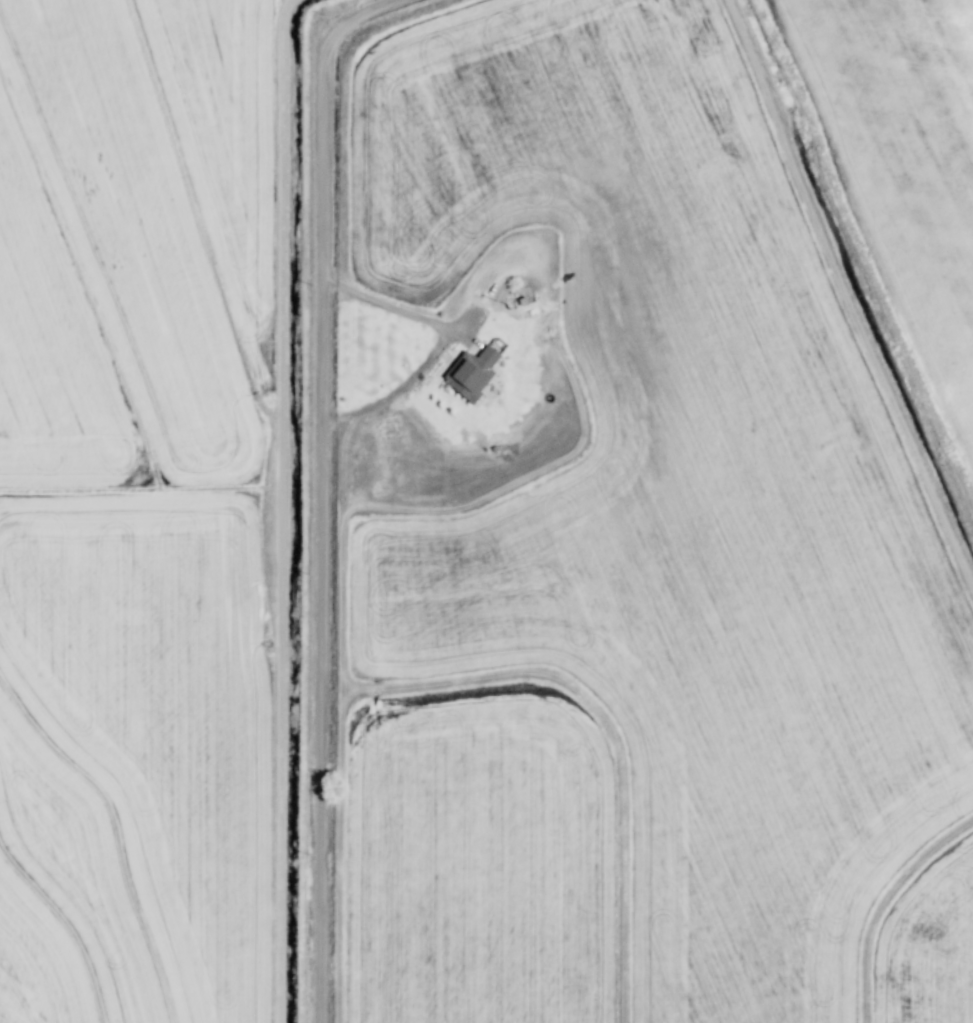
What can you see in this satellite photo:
road: (448, 333)
building: (474, 373)
road: (307, 491)

